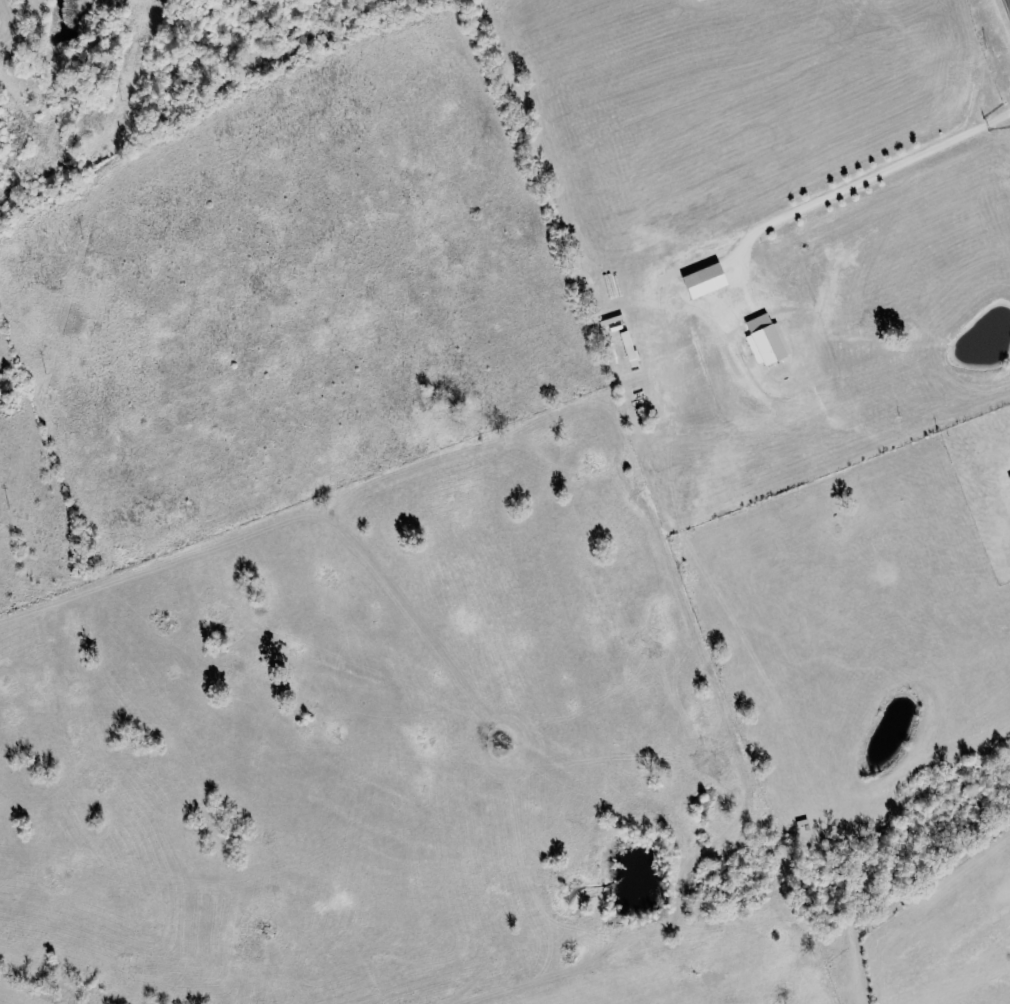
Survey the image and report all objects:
building: (770, 343)
building: (631, 347)

